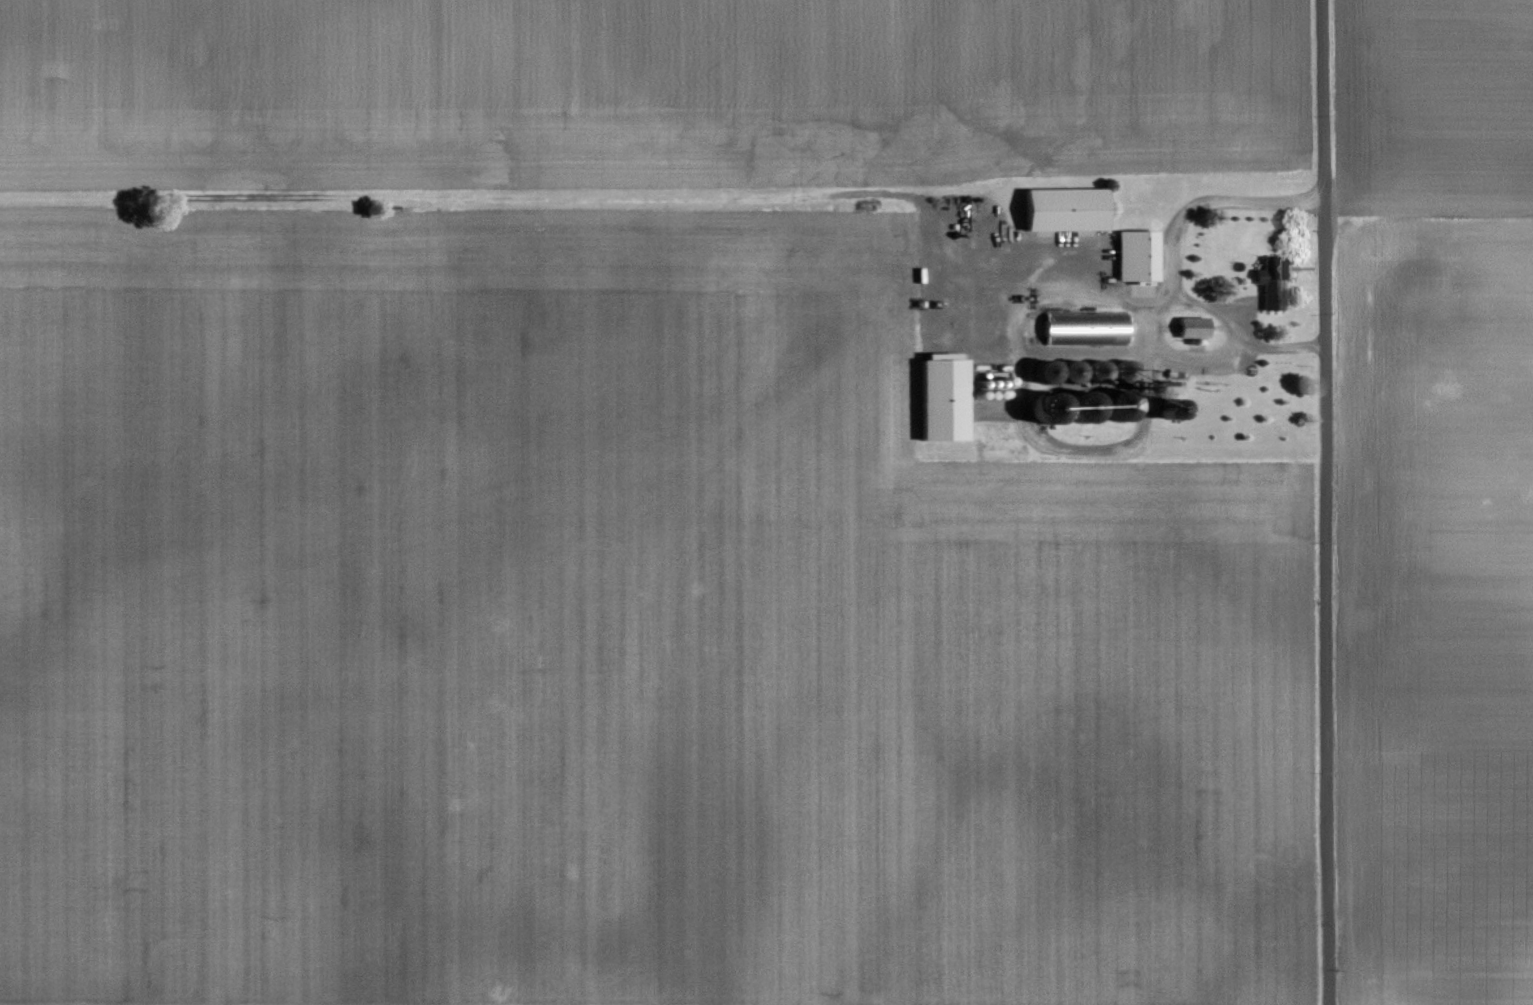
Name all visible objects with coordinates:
building: (1065, 207)
building: (1137, 253)
road: (1171, 264)
road: (1306, 266)
building: (1273, 278)
building: (1192, 325)
building: (1084, 326)
silo: (1097, 369)
silo: (1124, 369)
silo: (1046, 370)
silo: (1071, 370)
silo: (1005, 379)
silo: (977, 381)
silo: (985, 381)
silo: (994, 381)
silo: (975, 392)
silo: (985, 392)
silo: (995, 392)
silo: (1005, 392)
building: (943, 398)
silo: (1082, 405)
silo: (1120, 405)
road: (1326, 502)

